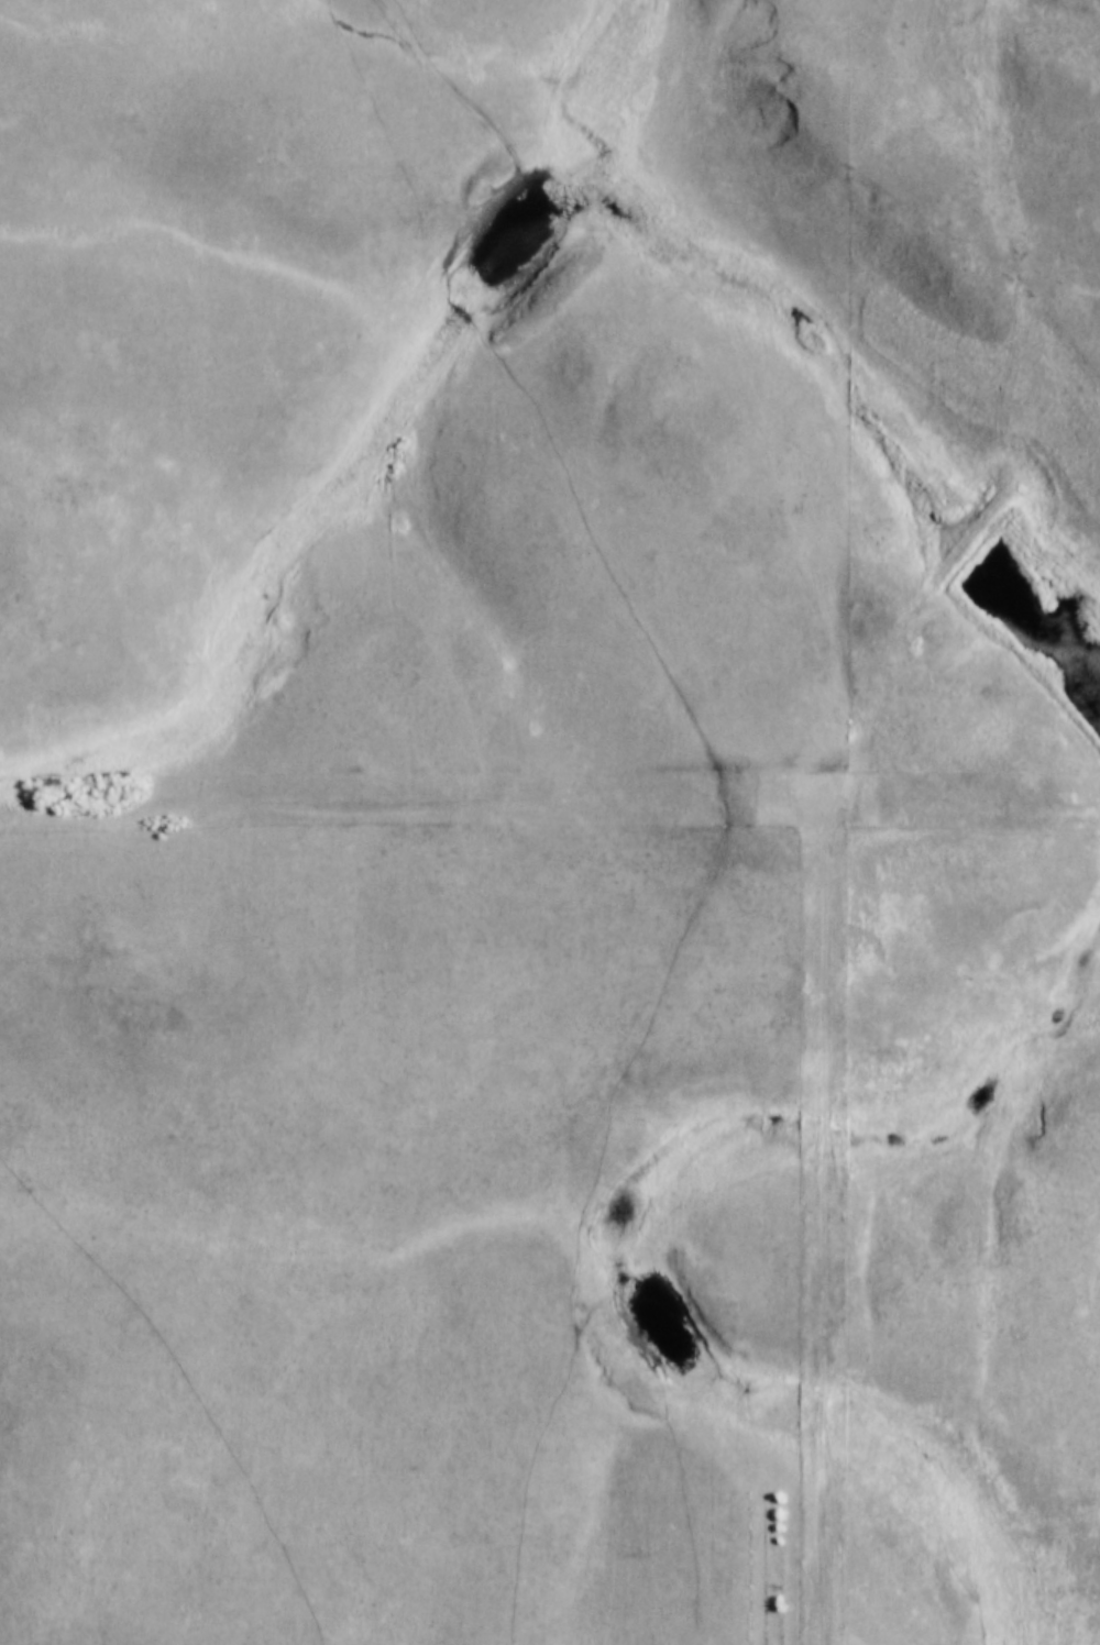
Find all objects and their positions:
road: (898, 380)
dam: (944, 543)
road: (393, 809)
road: (837, 1232)

